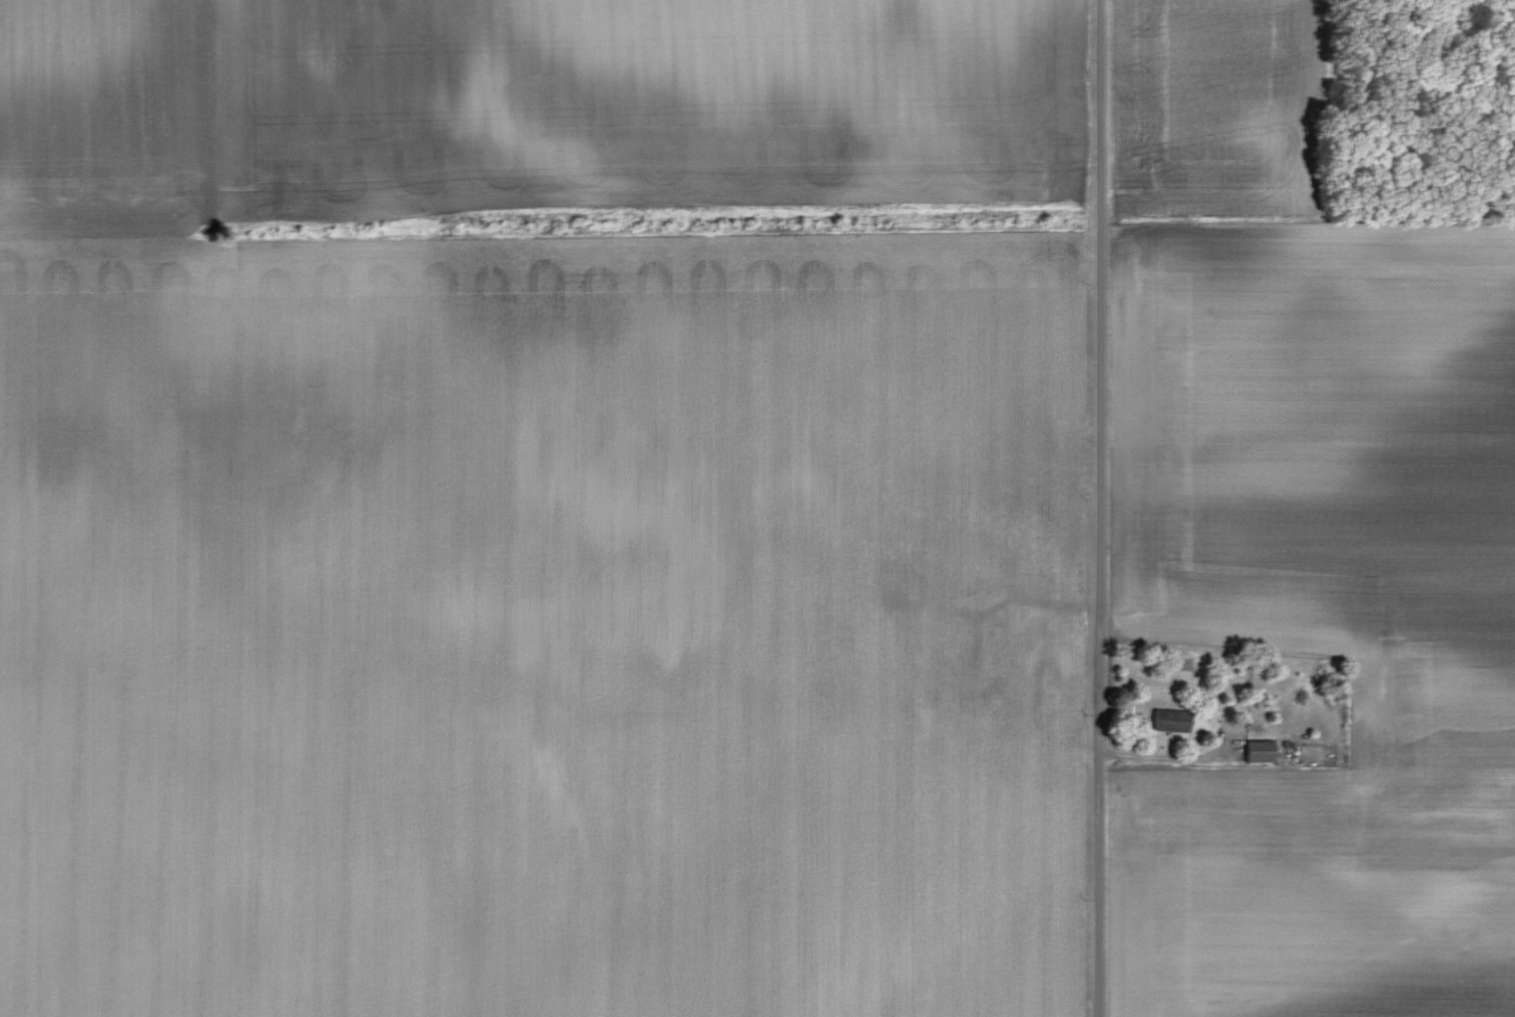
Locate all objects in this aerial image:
road: (1094, 508)
building: (1178, 723)

